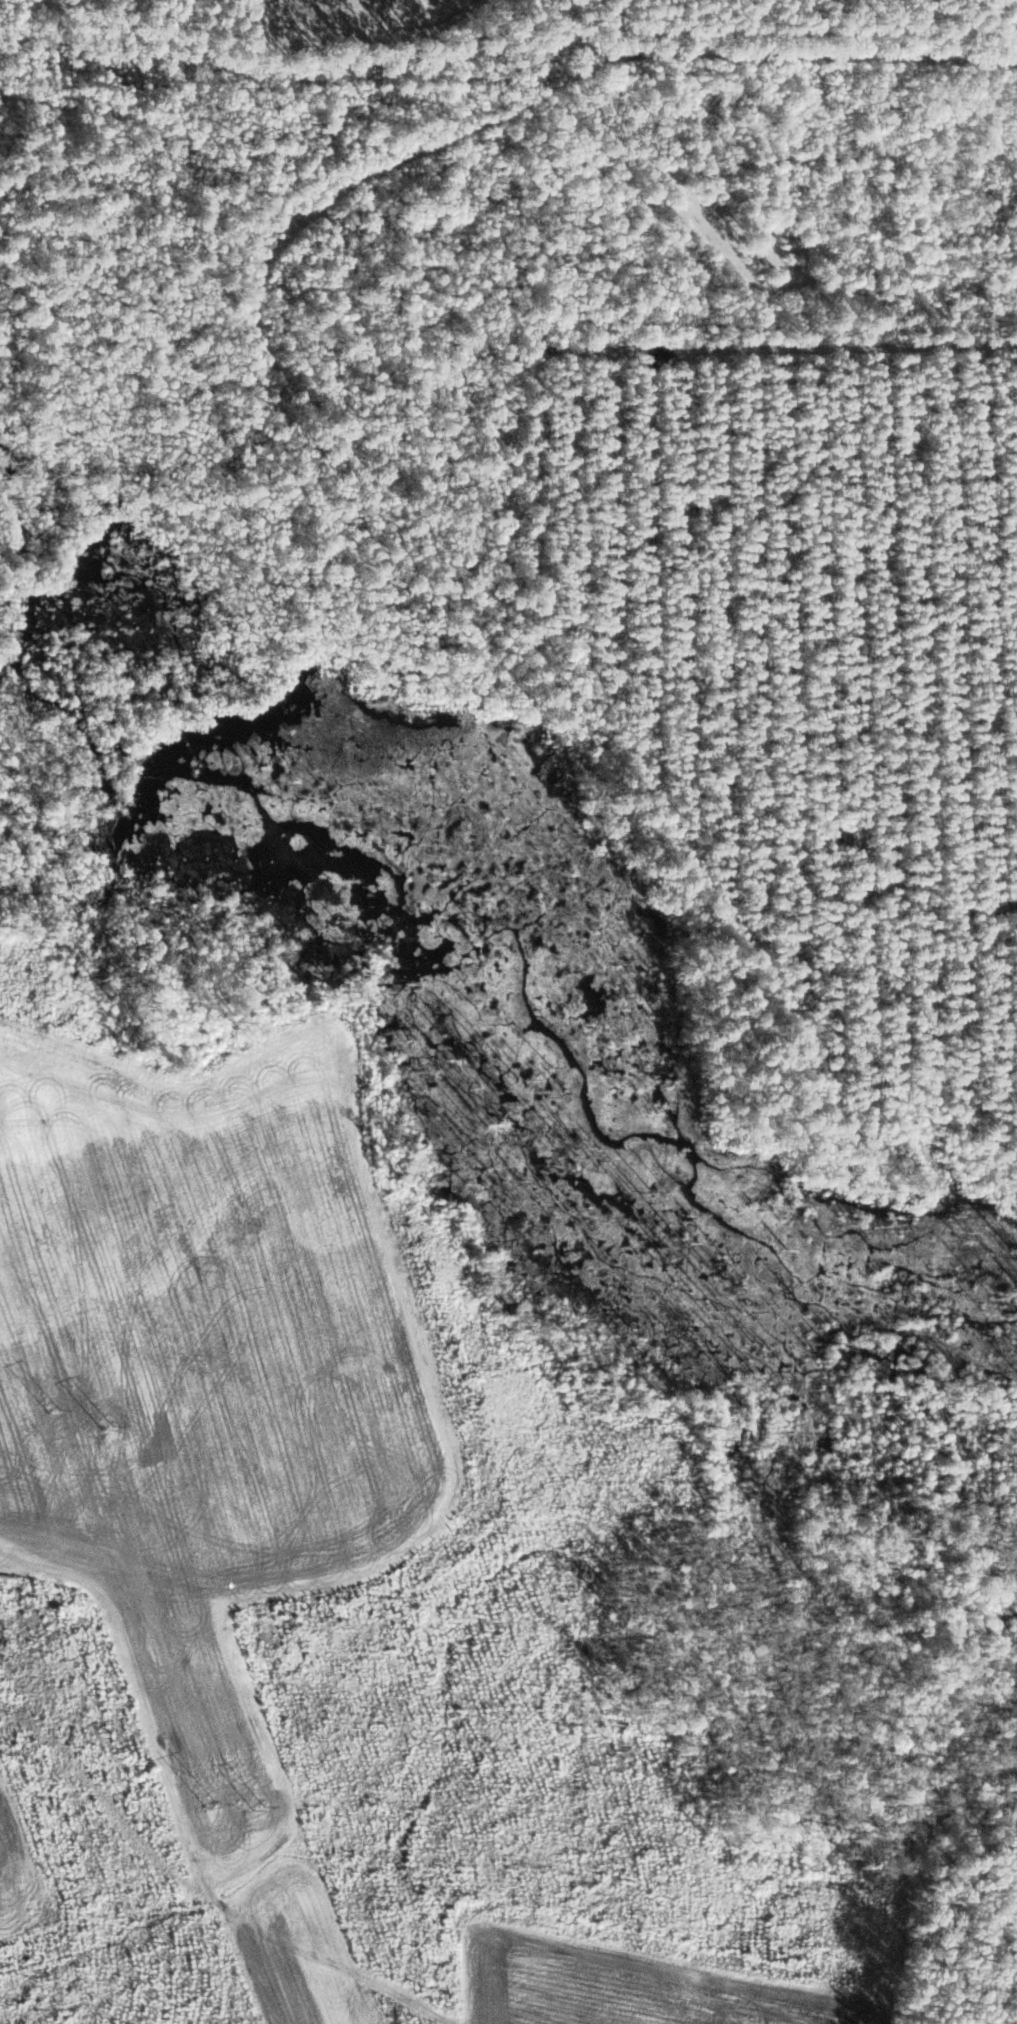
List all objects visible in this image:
road: (377, 124)
power tower: (53, 1407)
power tower: (108, 1426)
power tower: (209, 1806)
power tower: (260, 1807)
road: (204, 1841)

